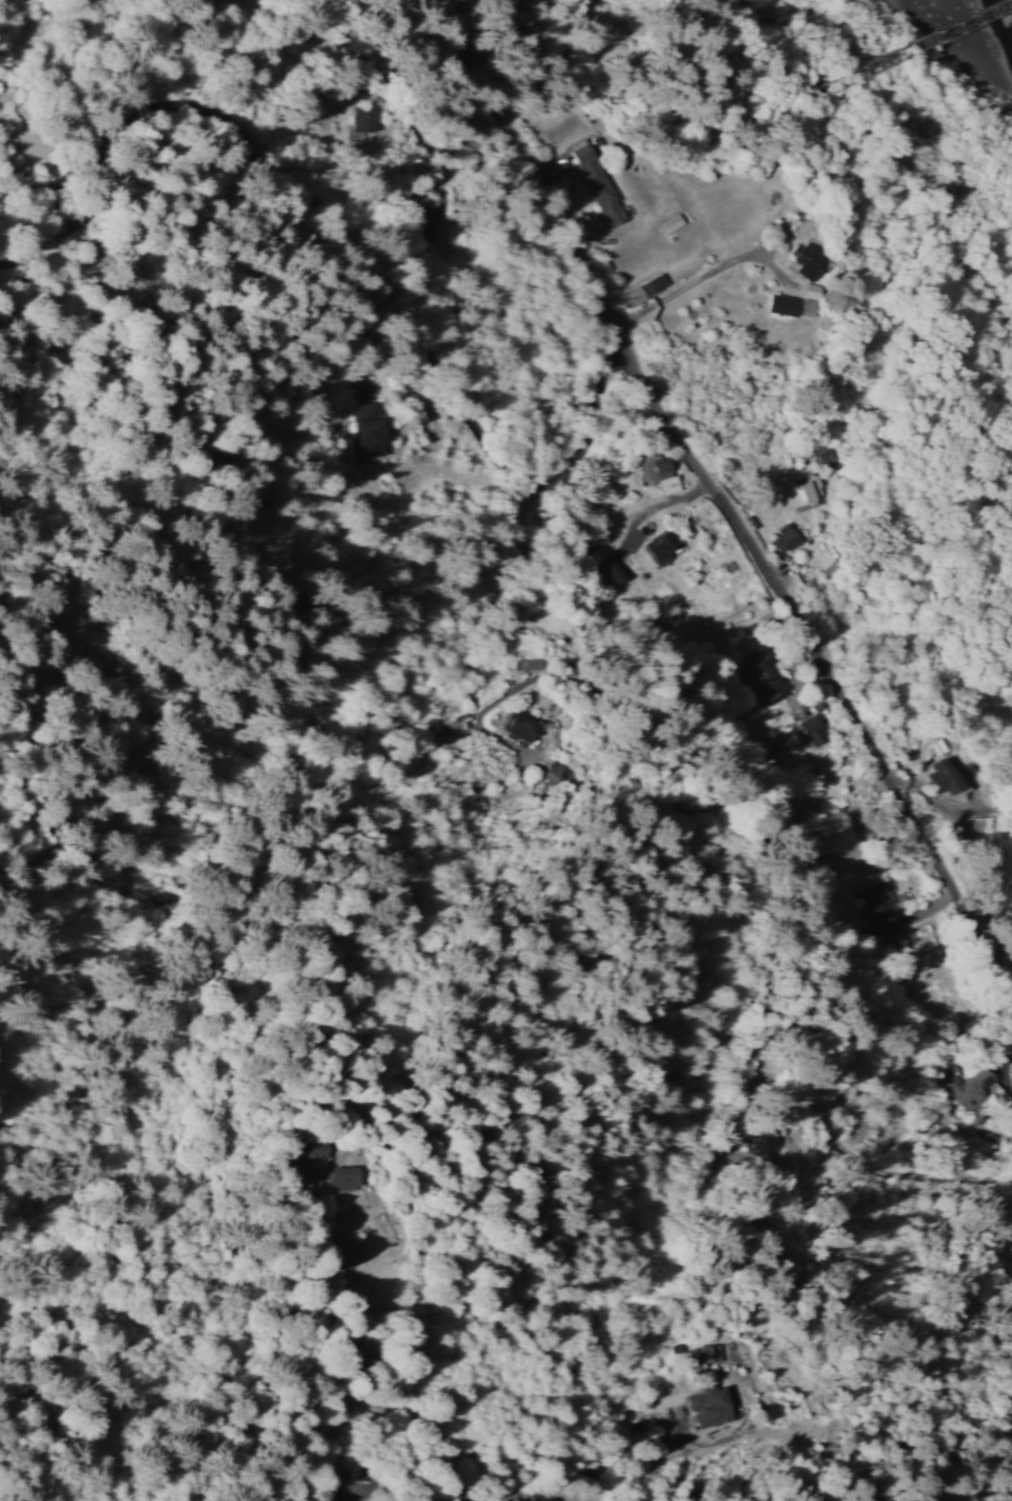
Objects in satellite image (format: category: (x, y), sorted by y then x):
river: (1008, 2)
railway: (658, 106)
building: (370, 118)
building: (597, 184)
building: (672, 222)
building: (808, 258)
building: (645, 288)
building: (809, 299)
building: (783, 304)
building: (383, 431)
building: (660, 474)
road: (723, 498)
building: (784, 537)
building: (659, 546)
building: (532, 663)
building: (519, 725)
building: (813, 730)
building: (555, 772)
building: (938, 775)
building: (766, 1140)
building: (348, 1178)
road: (797, 1311)
building: (707, 1352)
building: (712, 1407)
building: (556, 1500)

